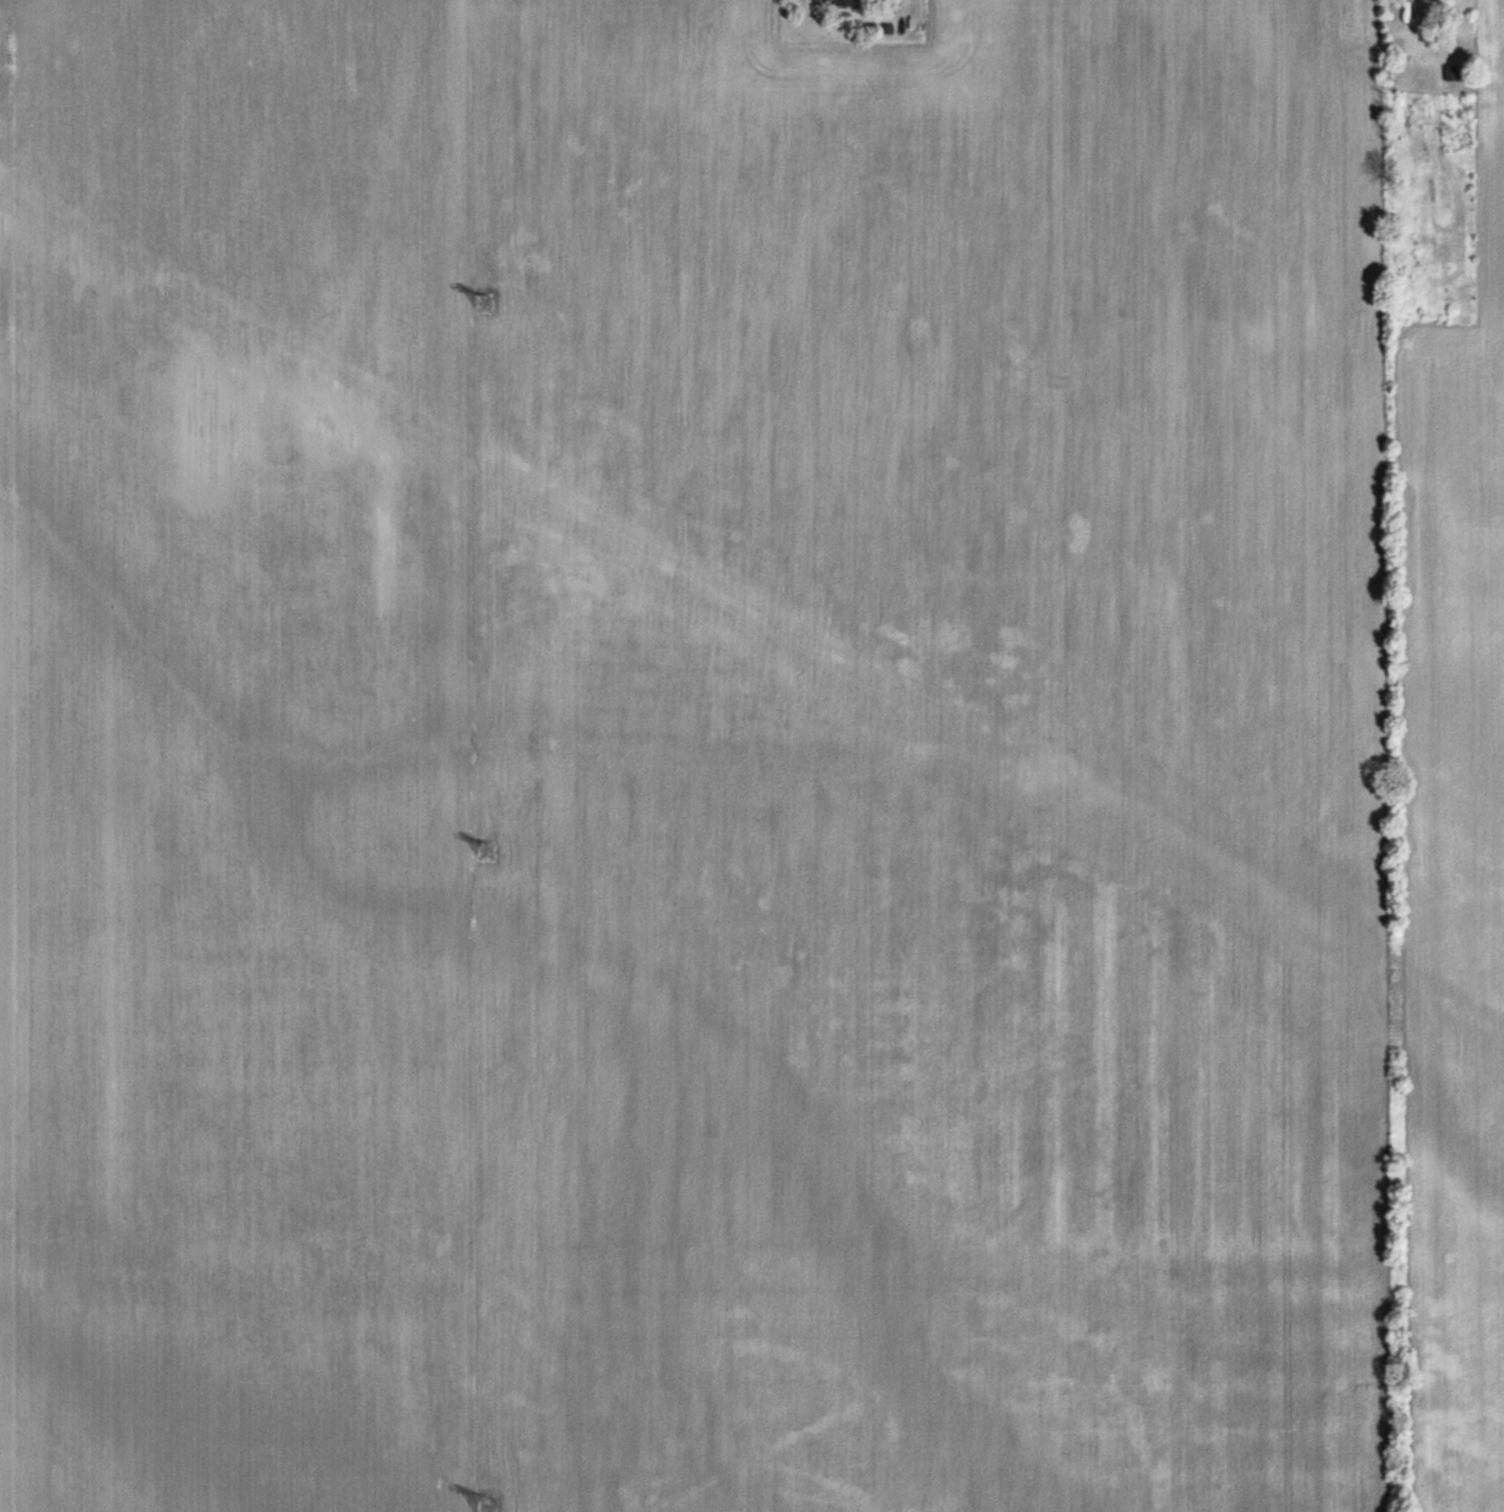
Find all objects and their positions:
building: (841, 3)
building: (1448, 73)
power tower: (489, 305)
power tower: (479, 851)

